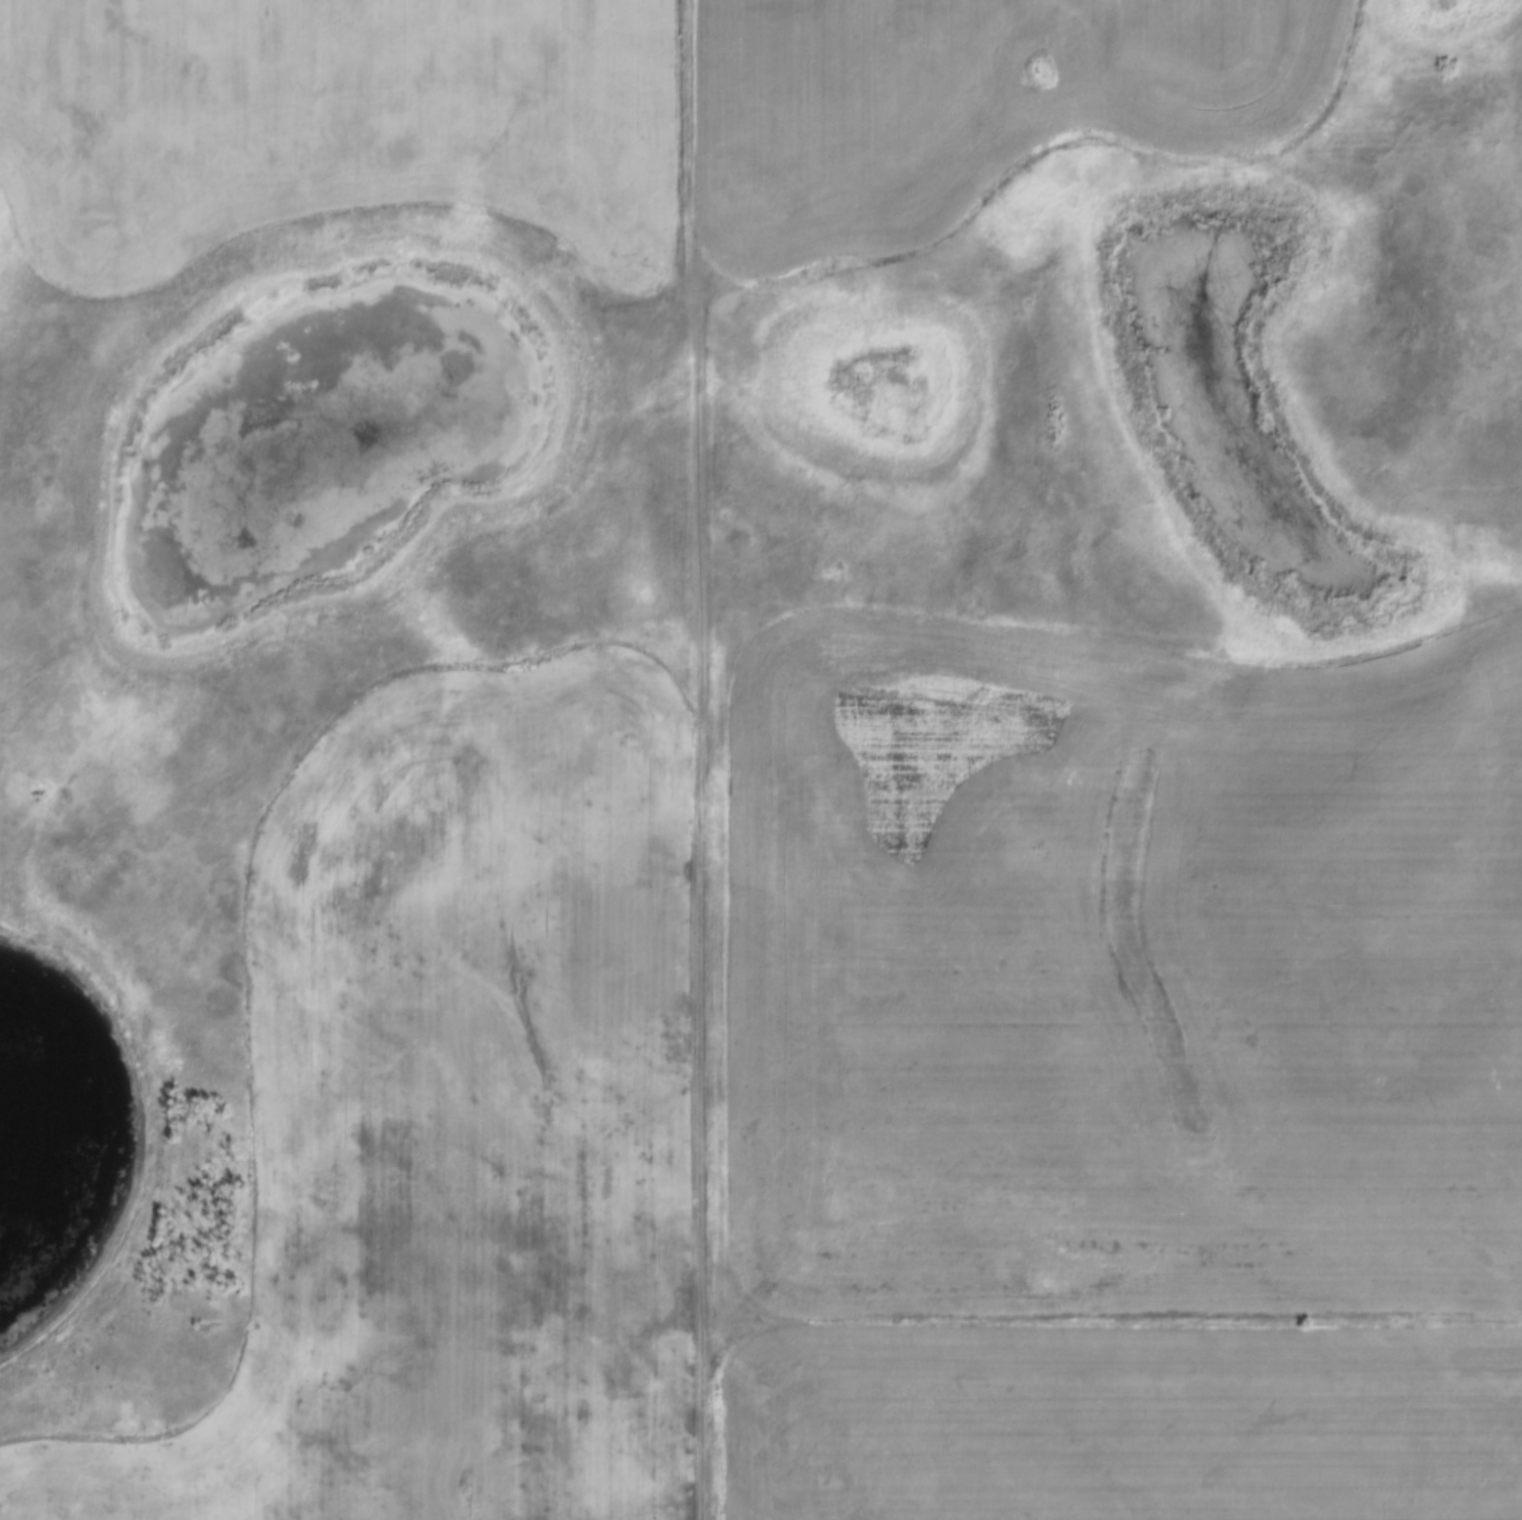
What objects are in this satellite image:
road: (704, 759)

